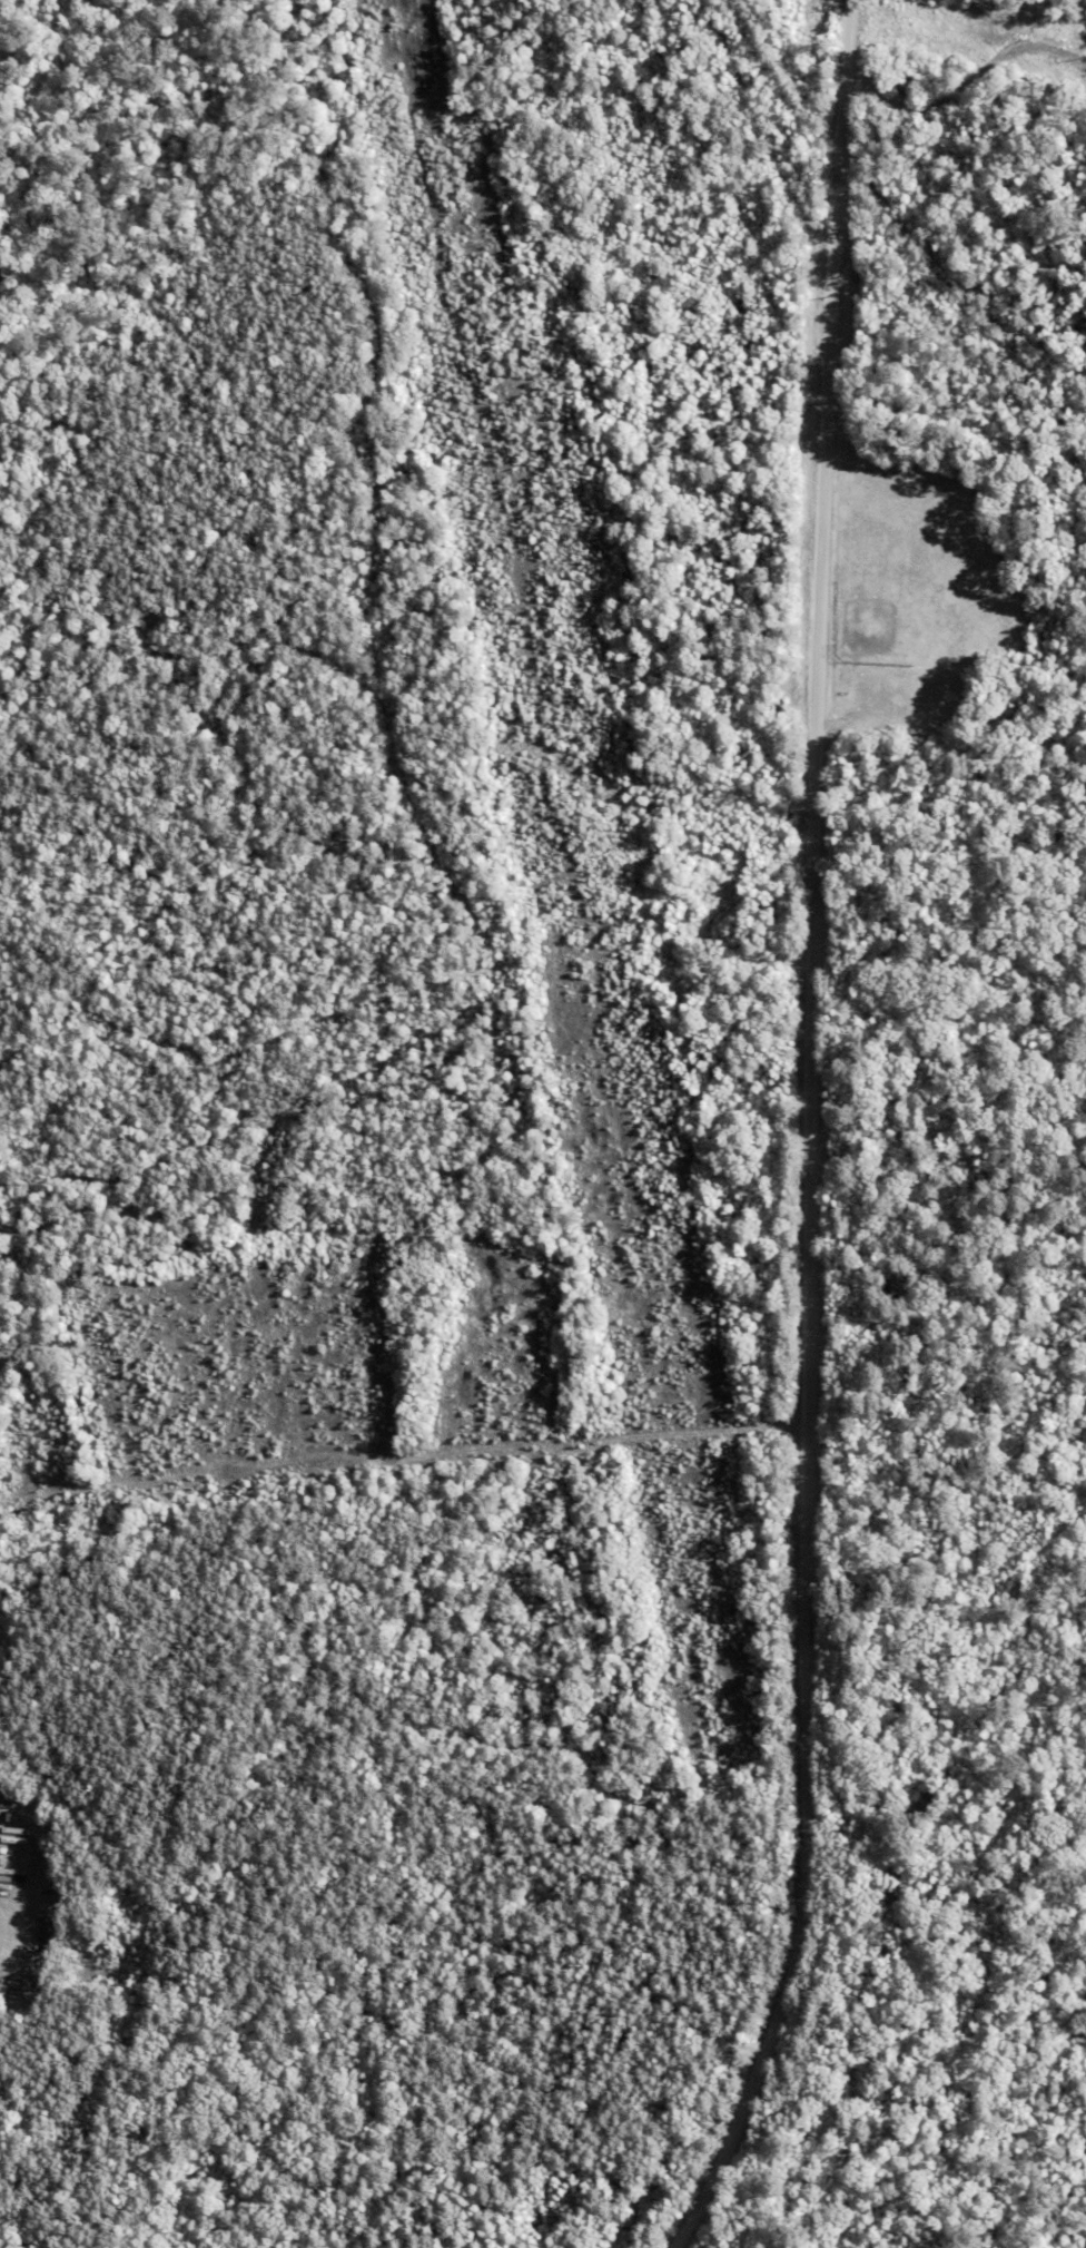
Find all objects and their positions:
road: (967, 37)
road: (807, 1137)
building: (9, 1814)
building: (2, 1905)

